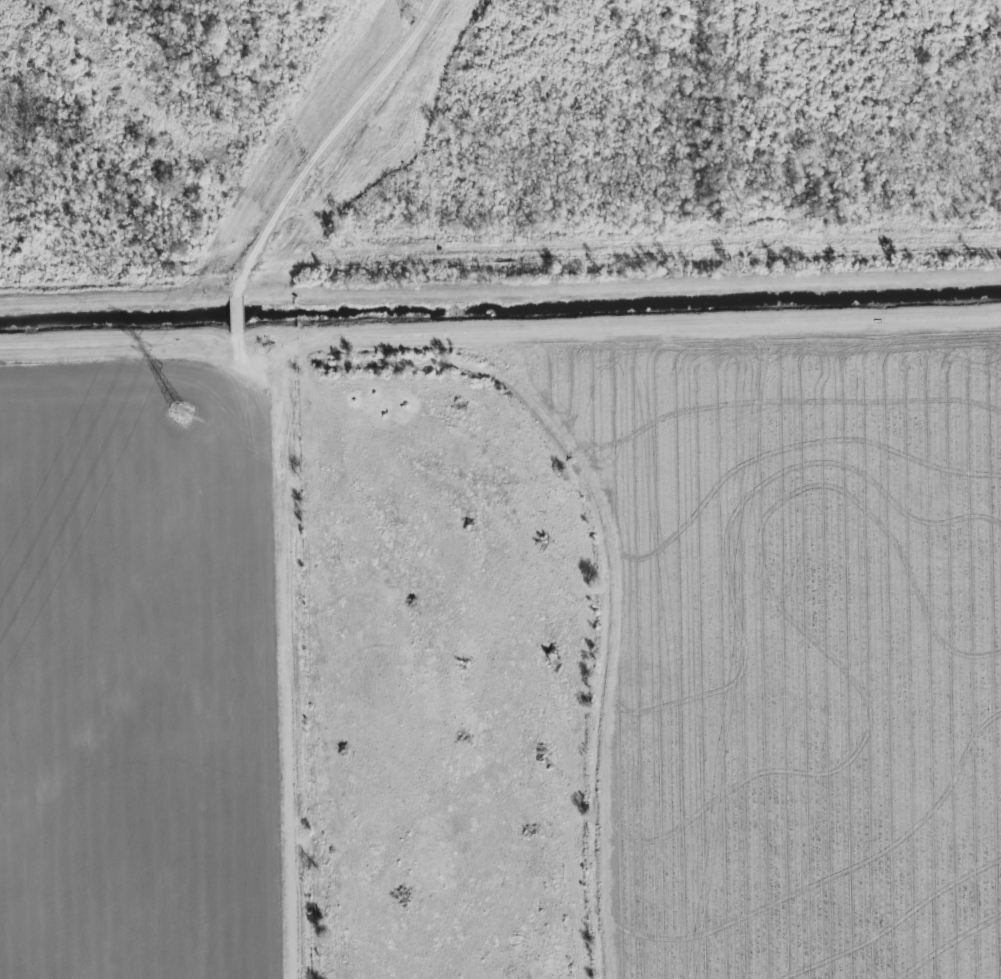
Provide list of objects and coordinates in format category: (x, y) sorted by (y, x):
power tower: (412, 15)
road: (335, 145)
road: (500, 293)
road: (241, 320)
road: (500, 333)
power tower: (182, 413)
road: (294, 659)

